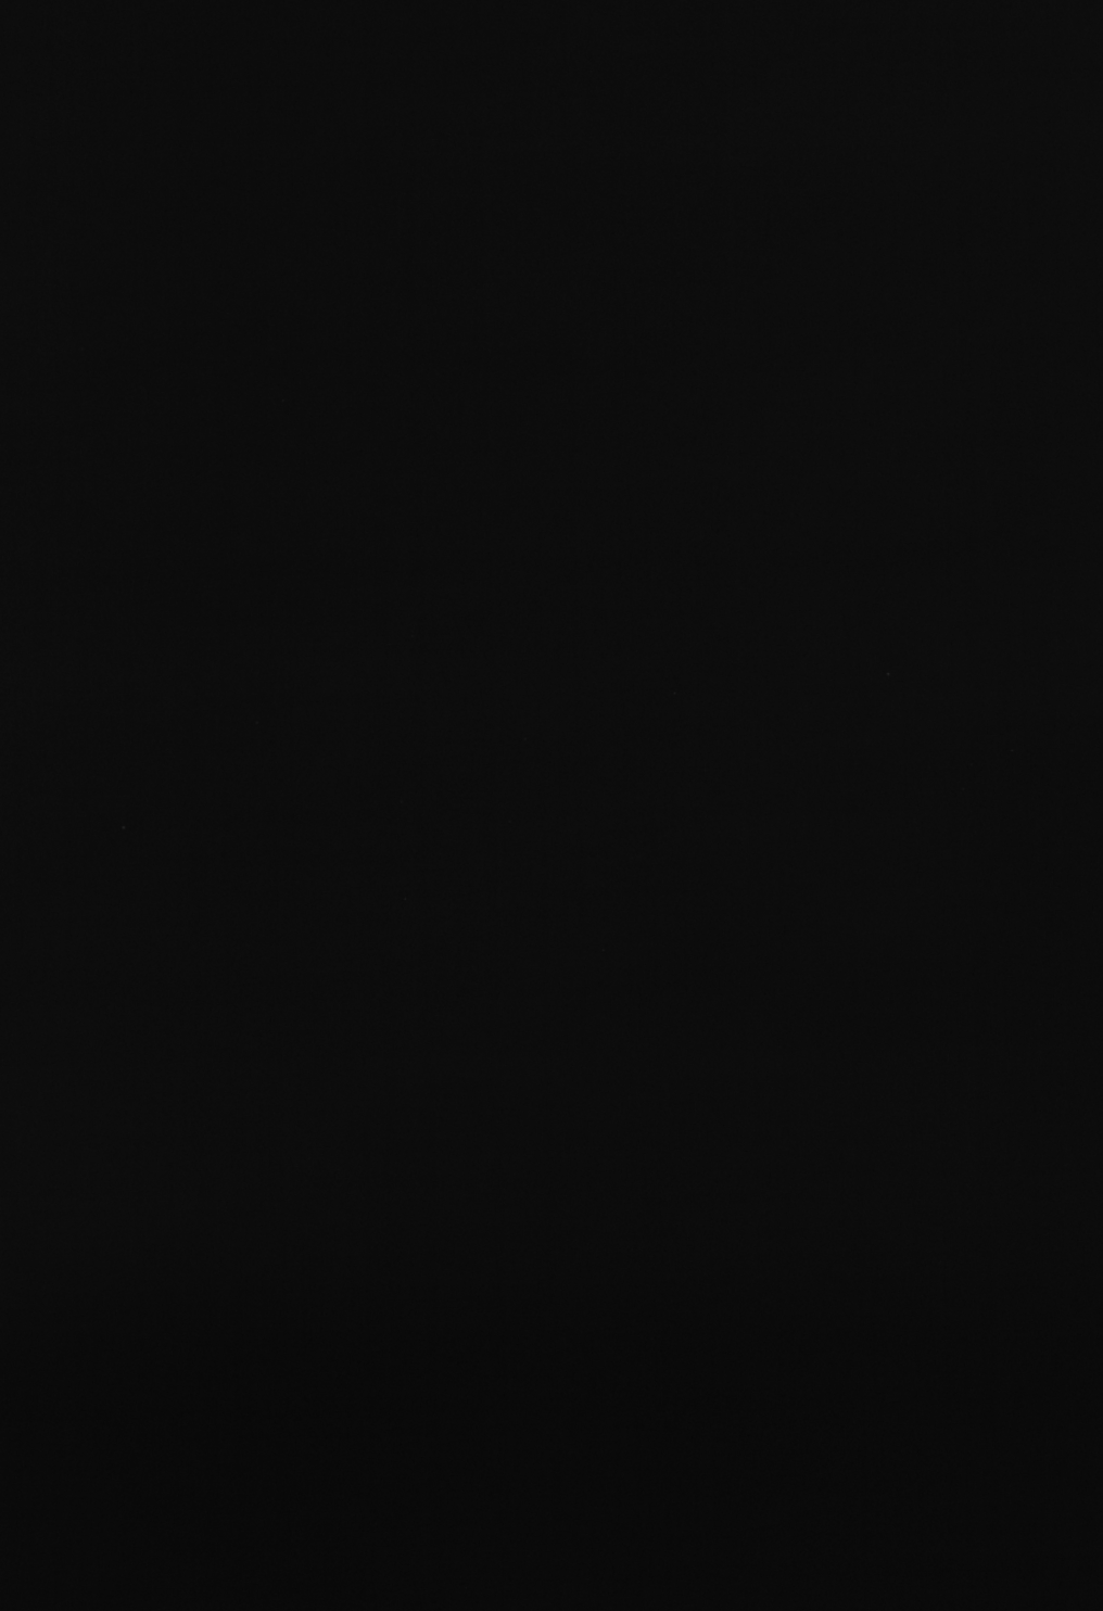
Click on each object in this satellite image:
river: (918, 117)

